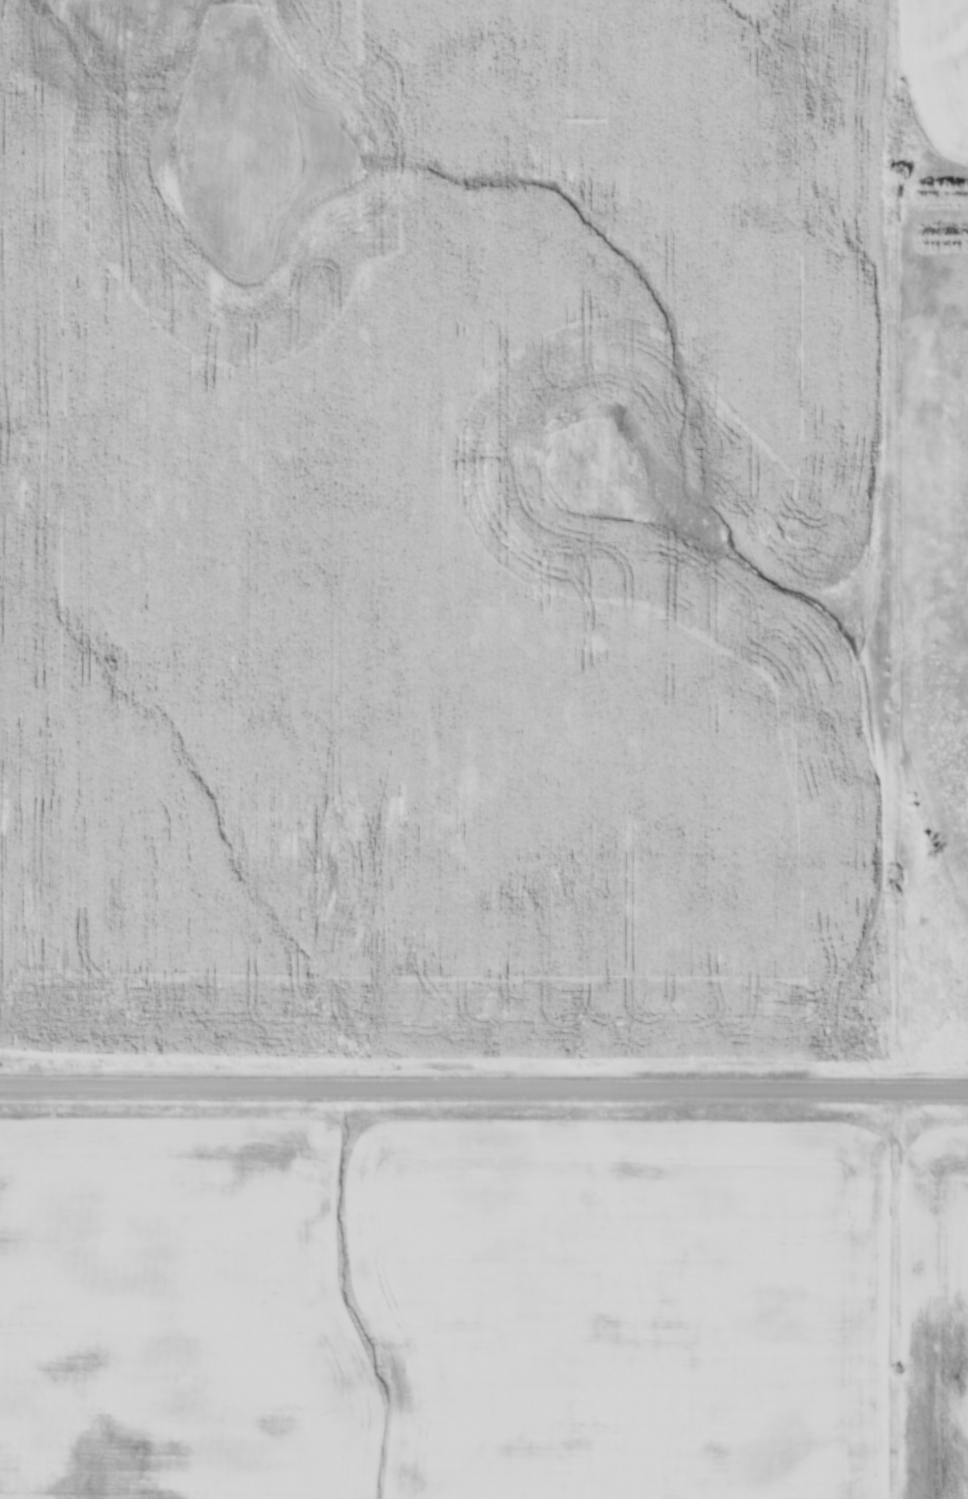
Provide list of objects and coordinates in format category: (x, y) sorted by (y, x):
road: (484, 1089)

